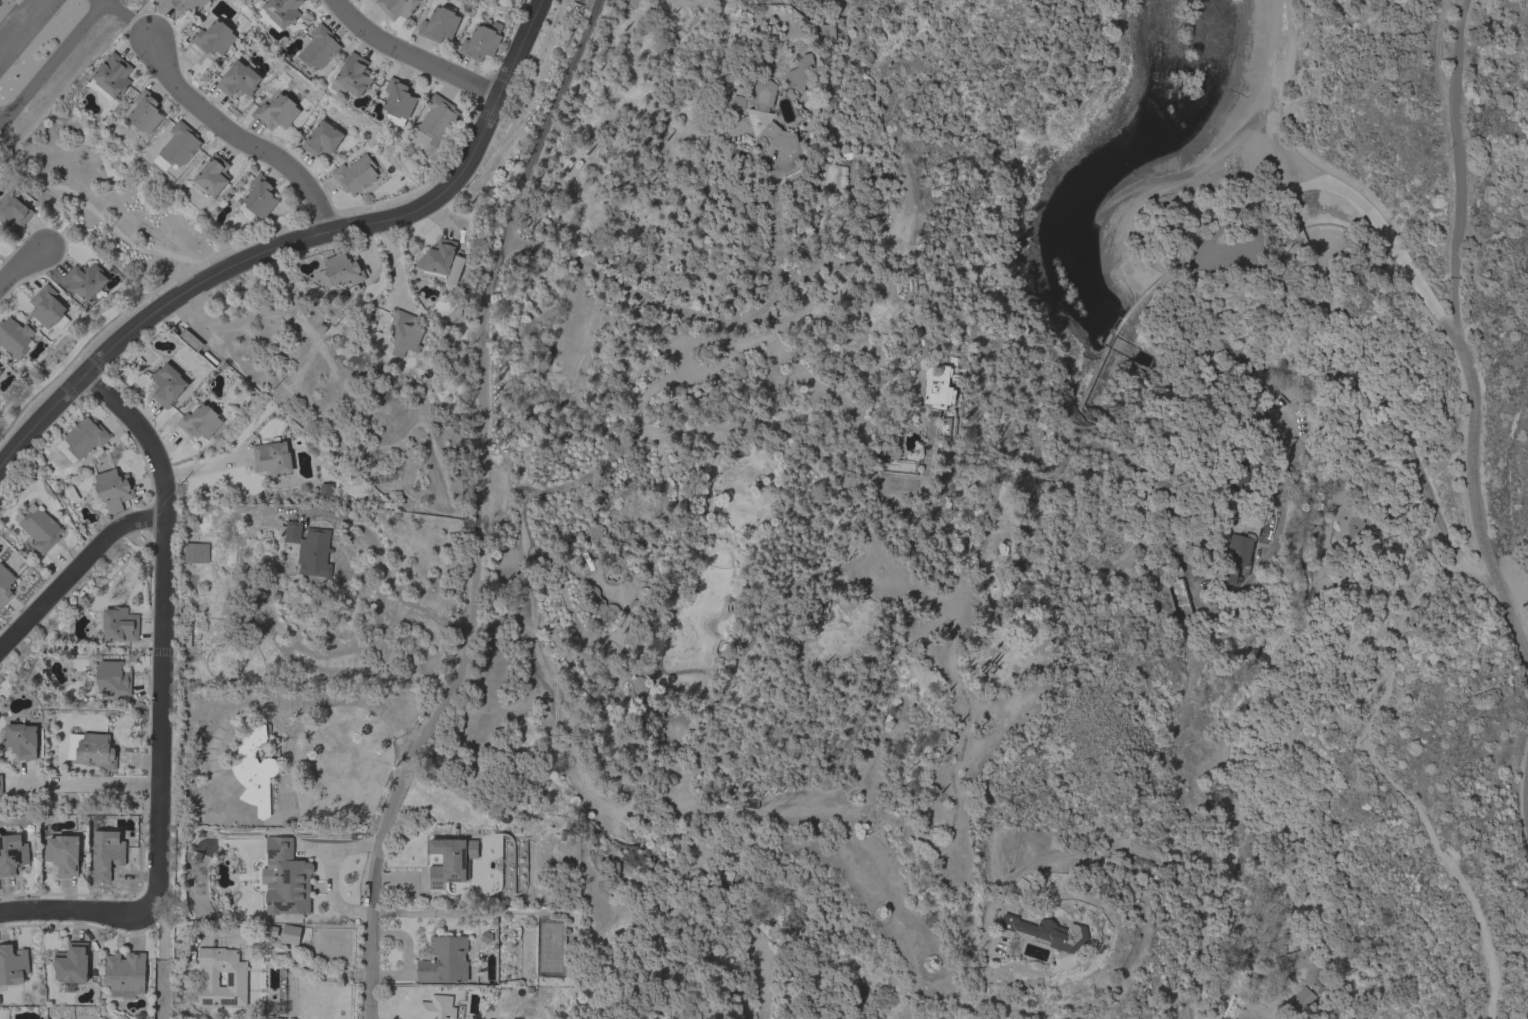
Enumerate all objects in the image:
building: (12, 0)
road: (100, 2)
building: (186, 5)
building: (397, 7)
building: (280, 12)
road: (131, 21)
building: (439, 23)
building: (242, 24)
road: (22, 26)
parking lot: (22, 27)
building: (822, 32)
building: (214, 38)
building: (481, 41)
building: (320, 48)
road: (411, 56)
road: (53, 62)
building: (800, 73)
building: (111, 76)
building: (353, 76)
building: (238, 80)
building: (398, 101)
building: (277, 111)
building: (146, 112)
building: (754, 114)
building: (437, 119)
building: (322, 139)
road: (239, 141)
building: (178, 146)
road: (1458, 169)
building: (213, 175)
building: (355, 175)
building: (874, 177)
road: (1349, 193)
building: (258, 198)
building: (13, 211)
road: (292, 241)
road: (874, 257)
building: (438, 260)
road: (20, 269)
building: (340, 270)
building: (85, 281)
road: (621, 287)
building: (47, 307)
dam: (1112, 331)
building: (403, 333)
building: (14, 337)
building: (190, 340)
building: (0, 371)
building: (166, 384)
road: (662, 386)
building: (937, 389)
road: (831, 394)
building: (199, 422)
road: (1028, 433)
building: (83, 440)
building: (272, 458)
building: (896, 462)
building: (1242, 472)
road: (1471, 472)
building: (111, 487)
building: (325, 490)
building: (1153, 505)
road: (479, 509)
building: (738, 514)
building: (1350, 524)
building: (39, 529)
building: (596, 532)
building: (632, 538)
building: (965, 541)
building: (309, 548)
building: (195, 553)
building: (1236, 560)
building: (616, 566)
road: (75, 569)
road: (384, 575)
building: (5, 585)
building: (1179, 598)
road: (1519, 598)
building: (640, 600)
building: (600, 605)
road: (1519, 624)
building: (119, 625)
road: (165, 626)
road: (745, 652)
building: (113, 677)
road: (352, 700)
building: (21, 740)
building: (94, 750)
road: (1377, 766)
building: (255, 771)
building: (1, 785)
road: (88, 785)
building: (740, 802)
road: (762, 811)
road: (1093, 850)
building: (12, 854)
building: (63, 854)
building: (107, 854)
building: (448, 861)
road: (328, 874)
building: (287, 879)
road: (76, 911)
building: (266, 930)
building: (1048, 933)
building: (289, 934)
road: (292, 959)
building: (445, 961)
building: (72, 963)
building: (1301, 964)
building: (12, 965)
building: (125, 975)
building: (236, 979)
building: (1304, 997)
road: (742, 1003)
building: (437, 1008)
building: (271, 1010)

